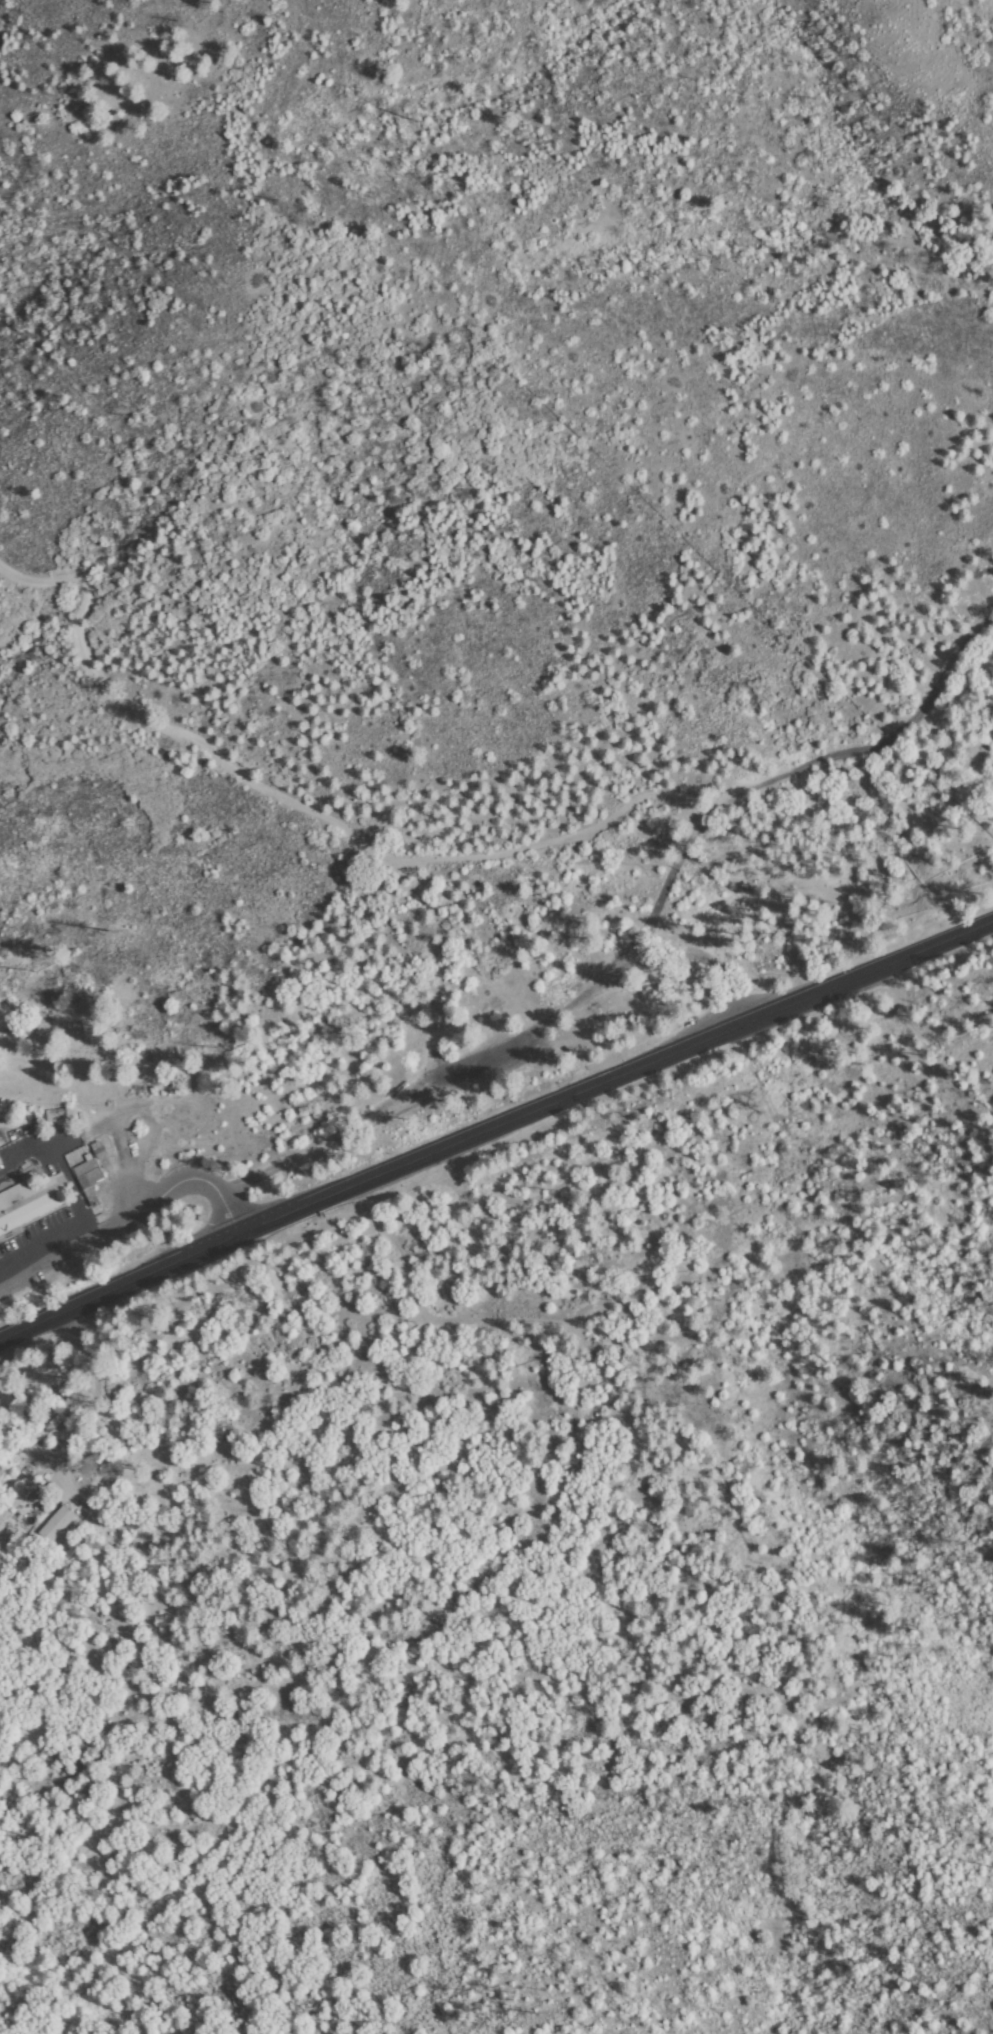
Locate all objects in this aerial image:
road: (173, 729)
road: (737, 803)
road: (759, 1023)
road: (498, 1047)
building: (523, 1060)
building: (68, 1119)
building: (99, 1150)
road: (18, 1159)
building: (1, 1170)
building: (88, 1177)
building: (31, 1202)
road: (131, 1218)
road: (261, 1229)
parking lot: (38, 1233)
building: (57, 1525)
building: (76, 1567)

